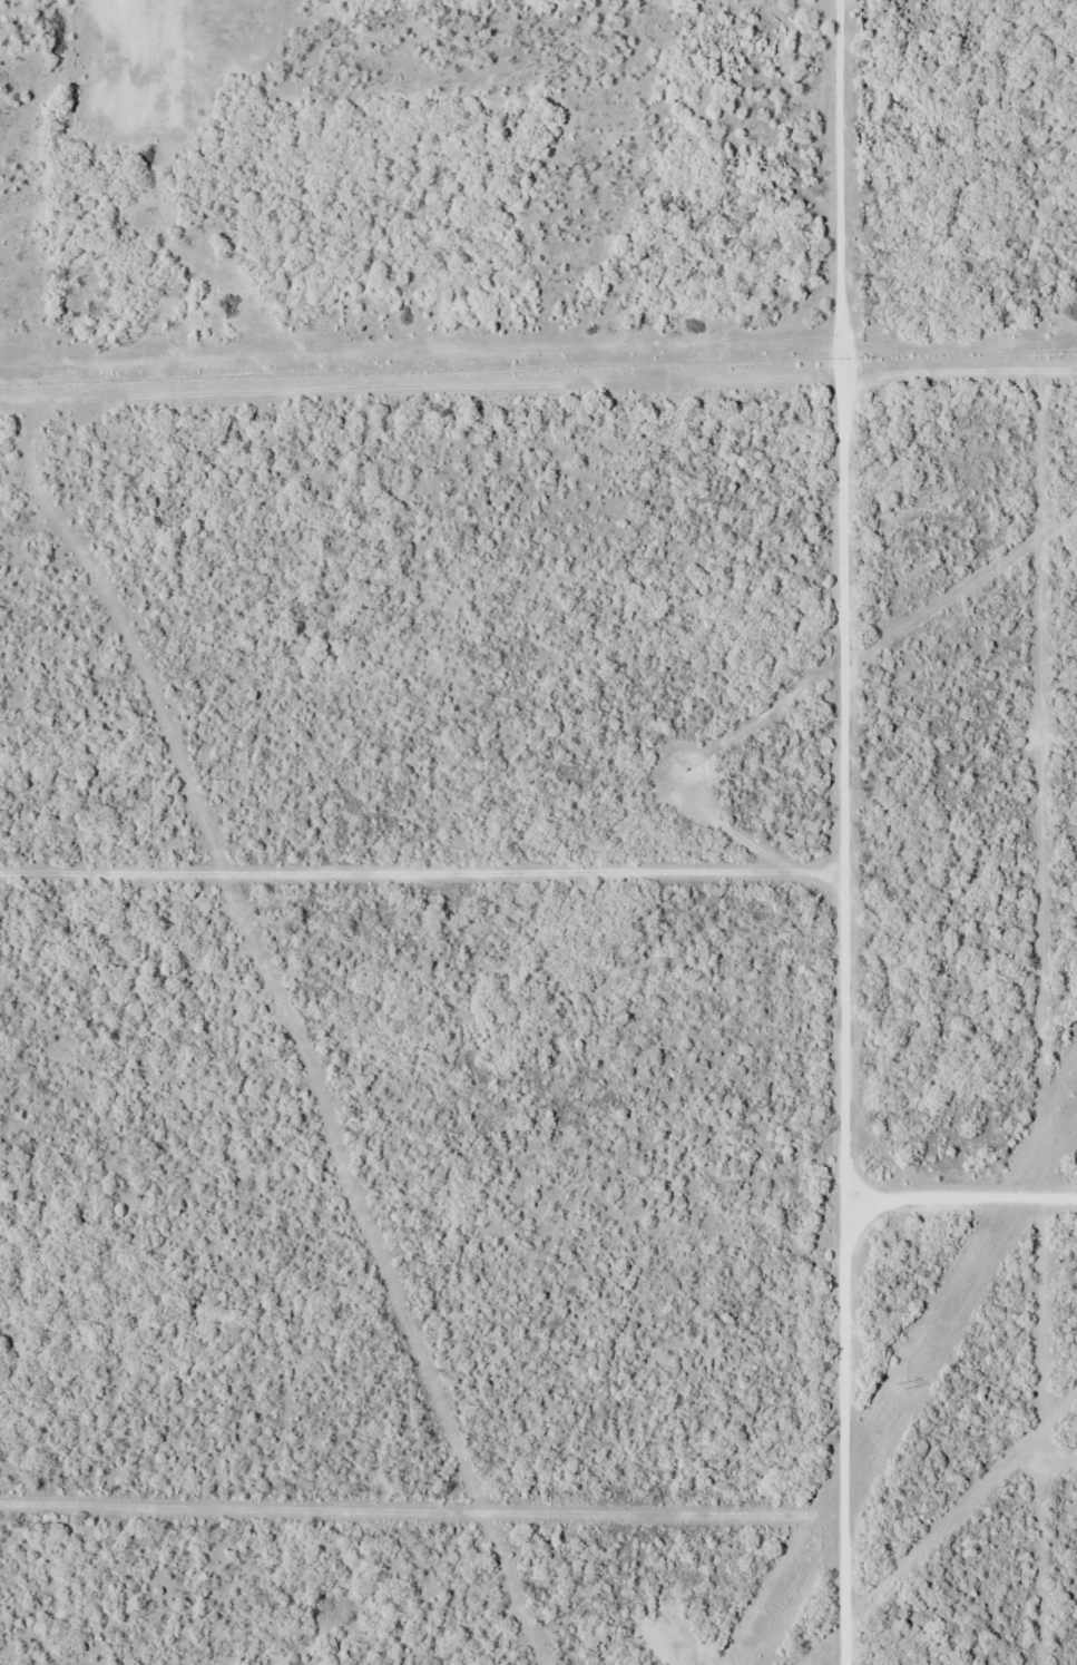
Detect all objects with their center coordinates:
road: (854, 832)
road: (428, 884)
road: (962, 1165)
power tower: (902, 1383)

